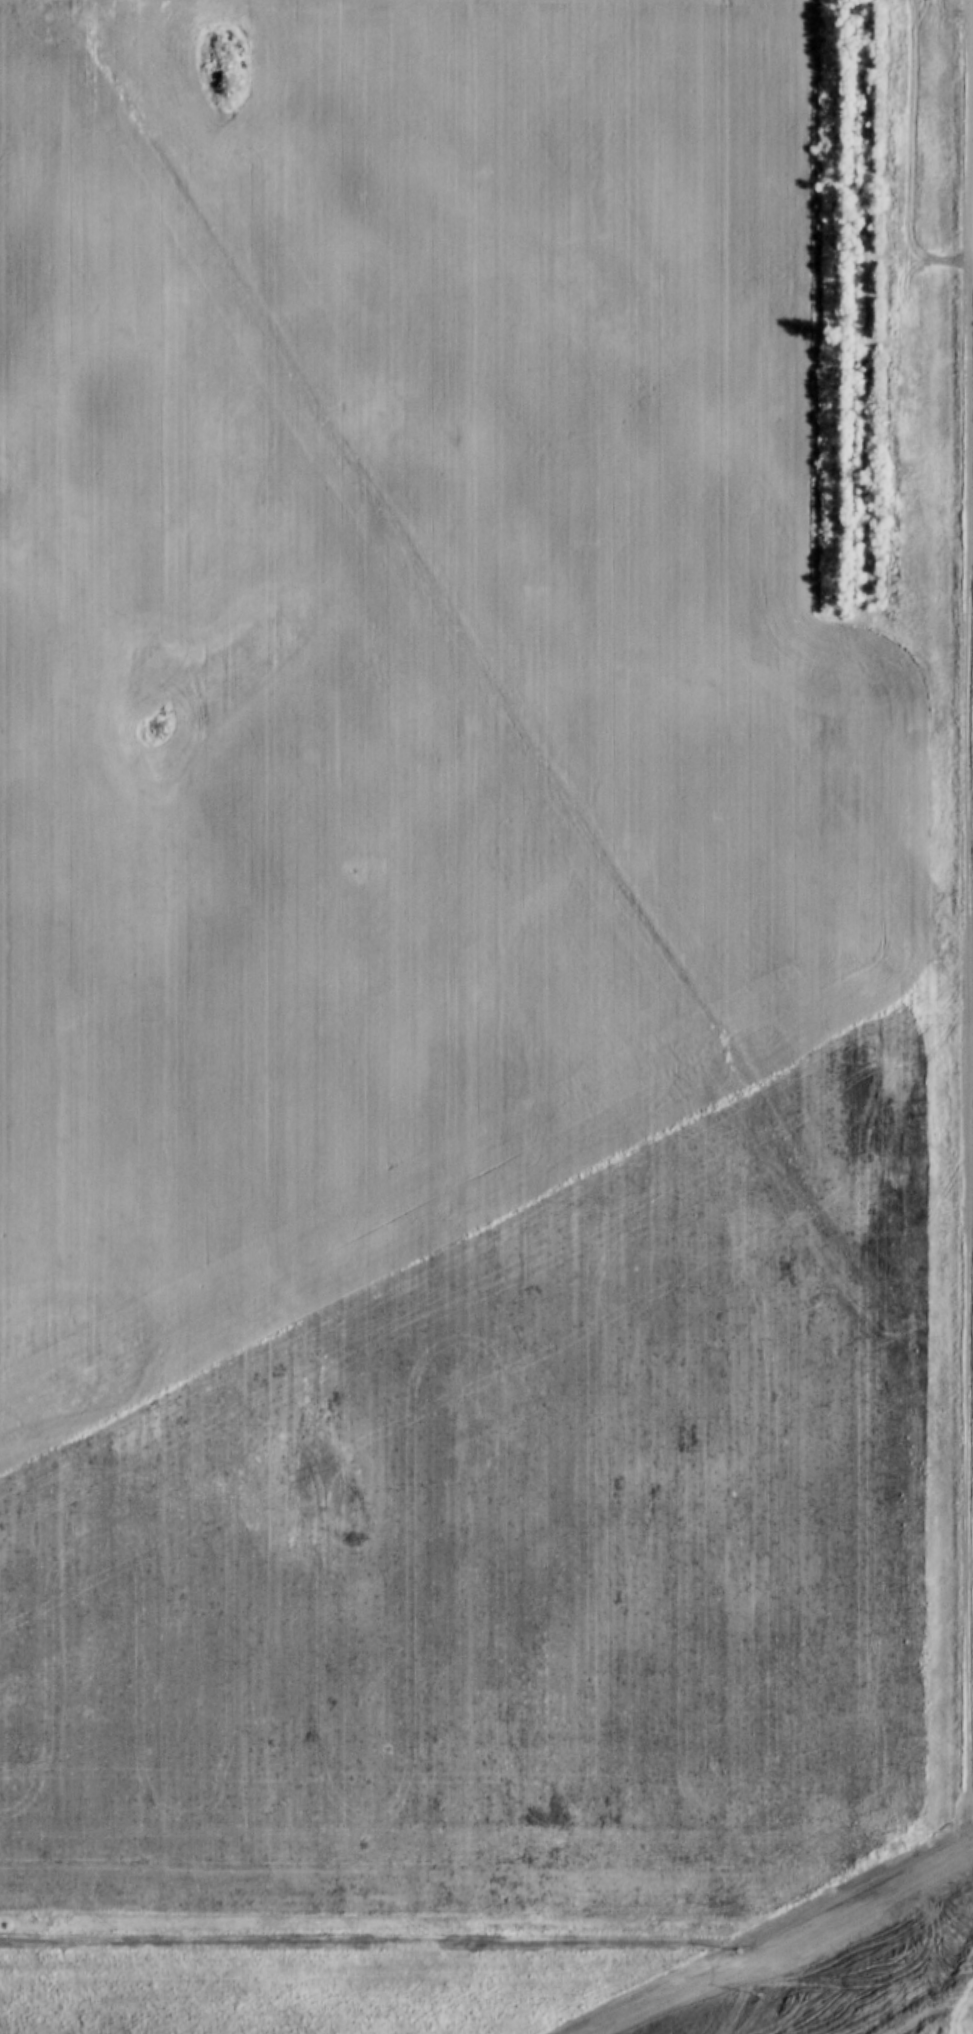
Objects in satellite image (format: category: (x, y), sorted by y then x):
road: (972, 548)
road: (970, 1157)

